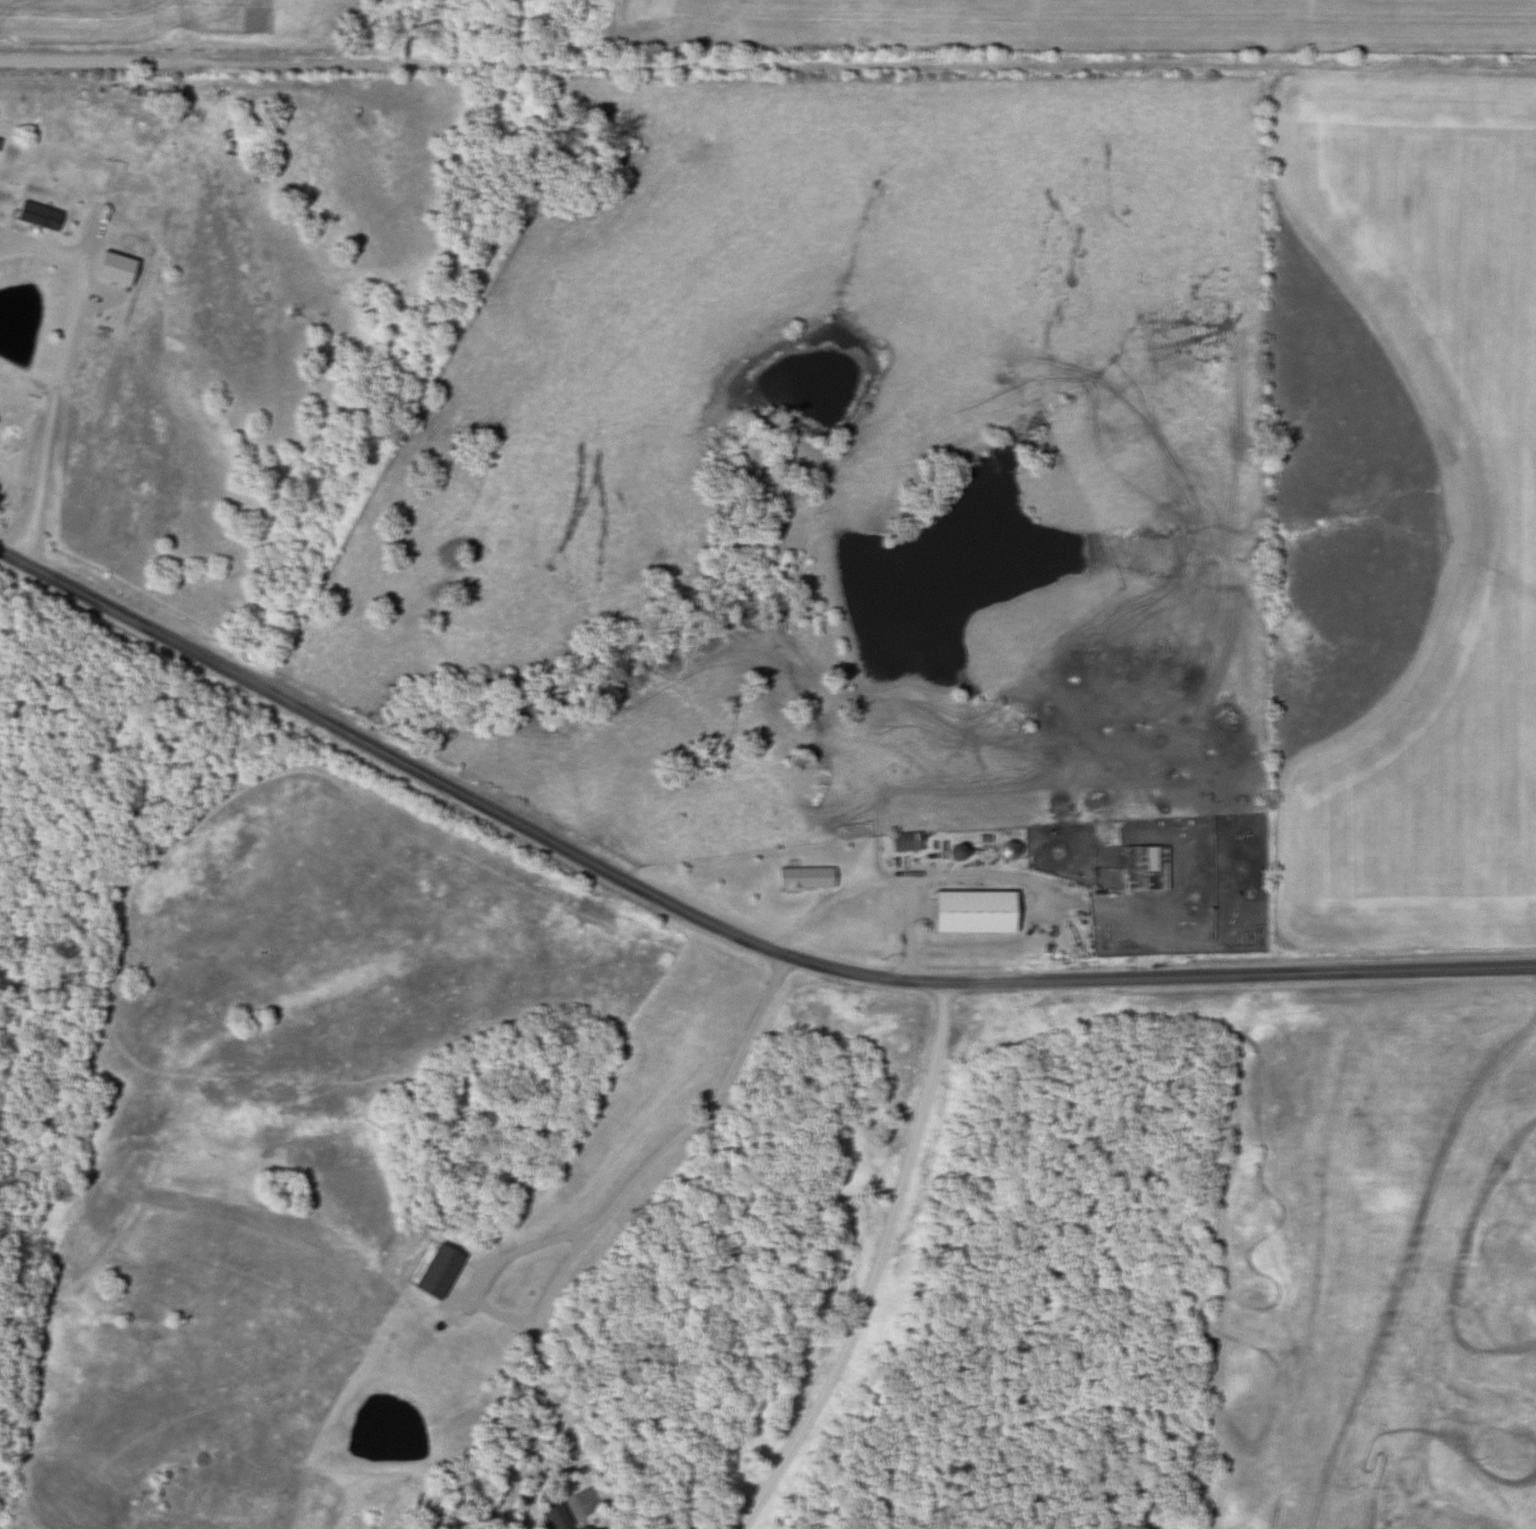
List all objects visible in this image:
road: (767, 68)
building: (36, 220)
road: (61, 372)
building: (905, 841)
building: (1144, 867)
building: (803, 877)
road: (875, 885)
road: (725, 929)
road: (608, 1203)
road: (876, 1267)
building: (438, 1270)
building: (555, 1516)

